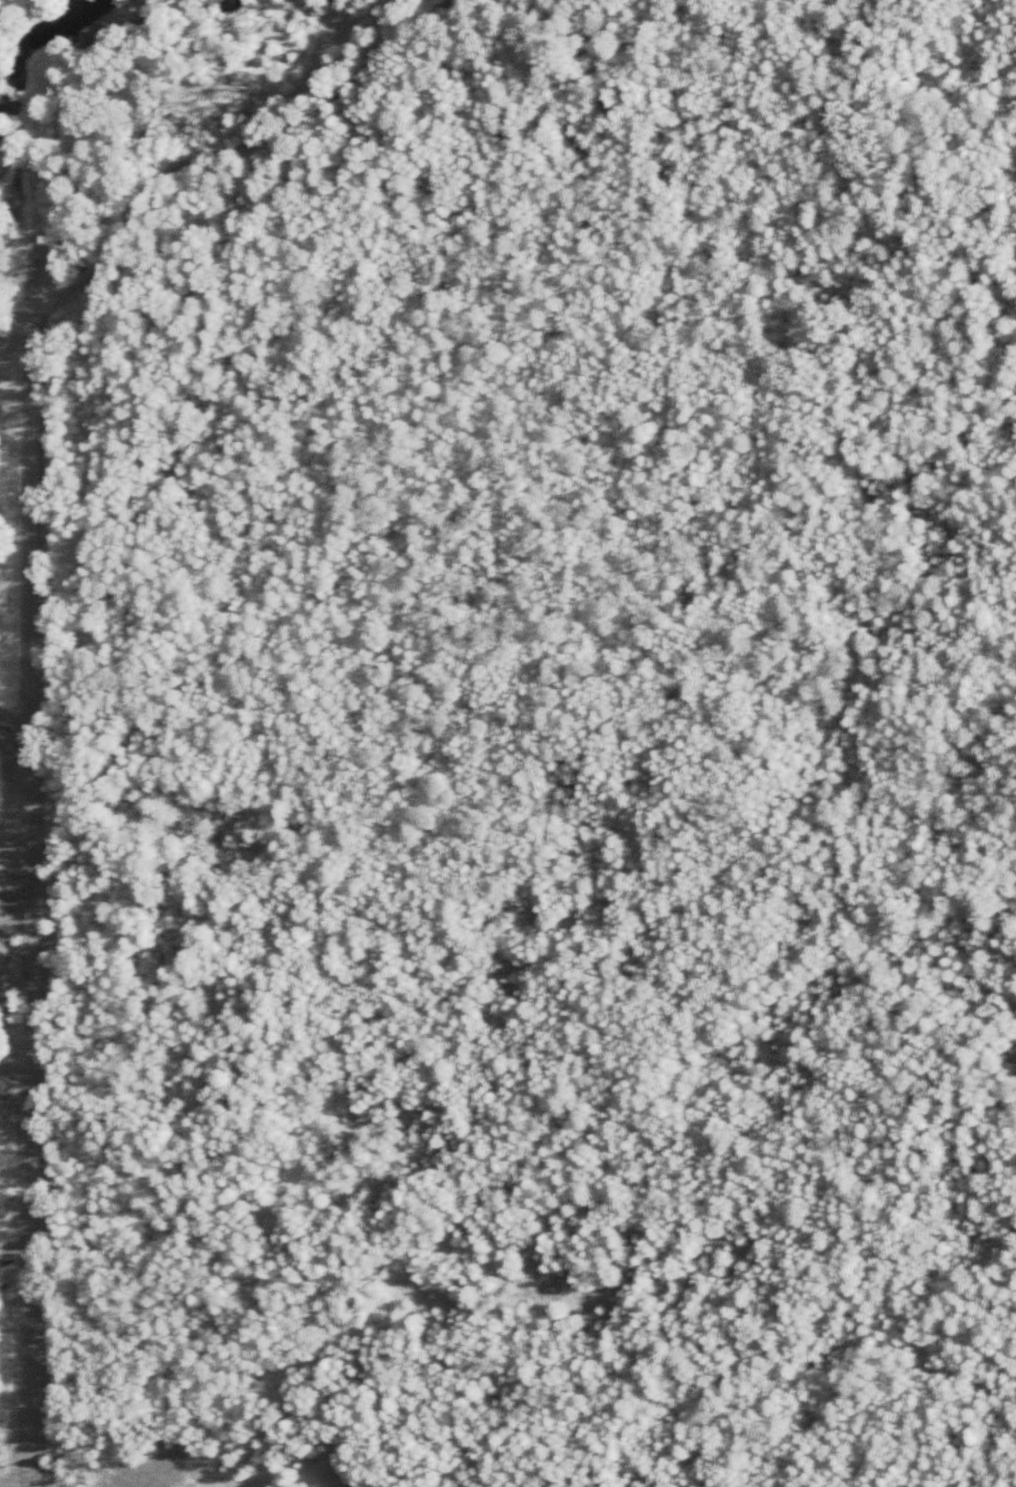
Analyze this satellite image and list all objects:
road: (17, 729)
road: (17, 823)
road: (34, 860)

